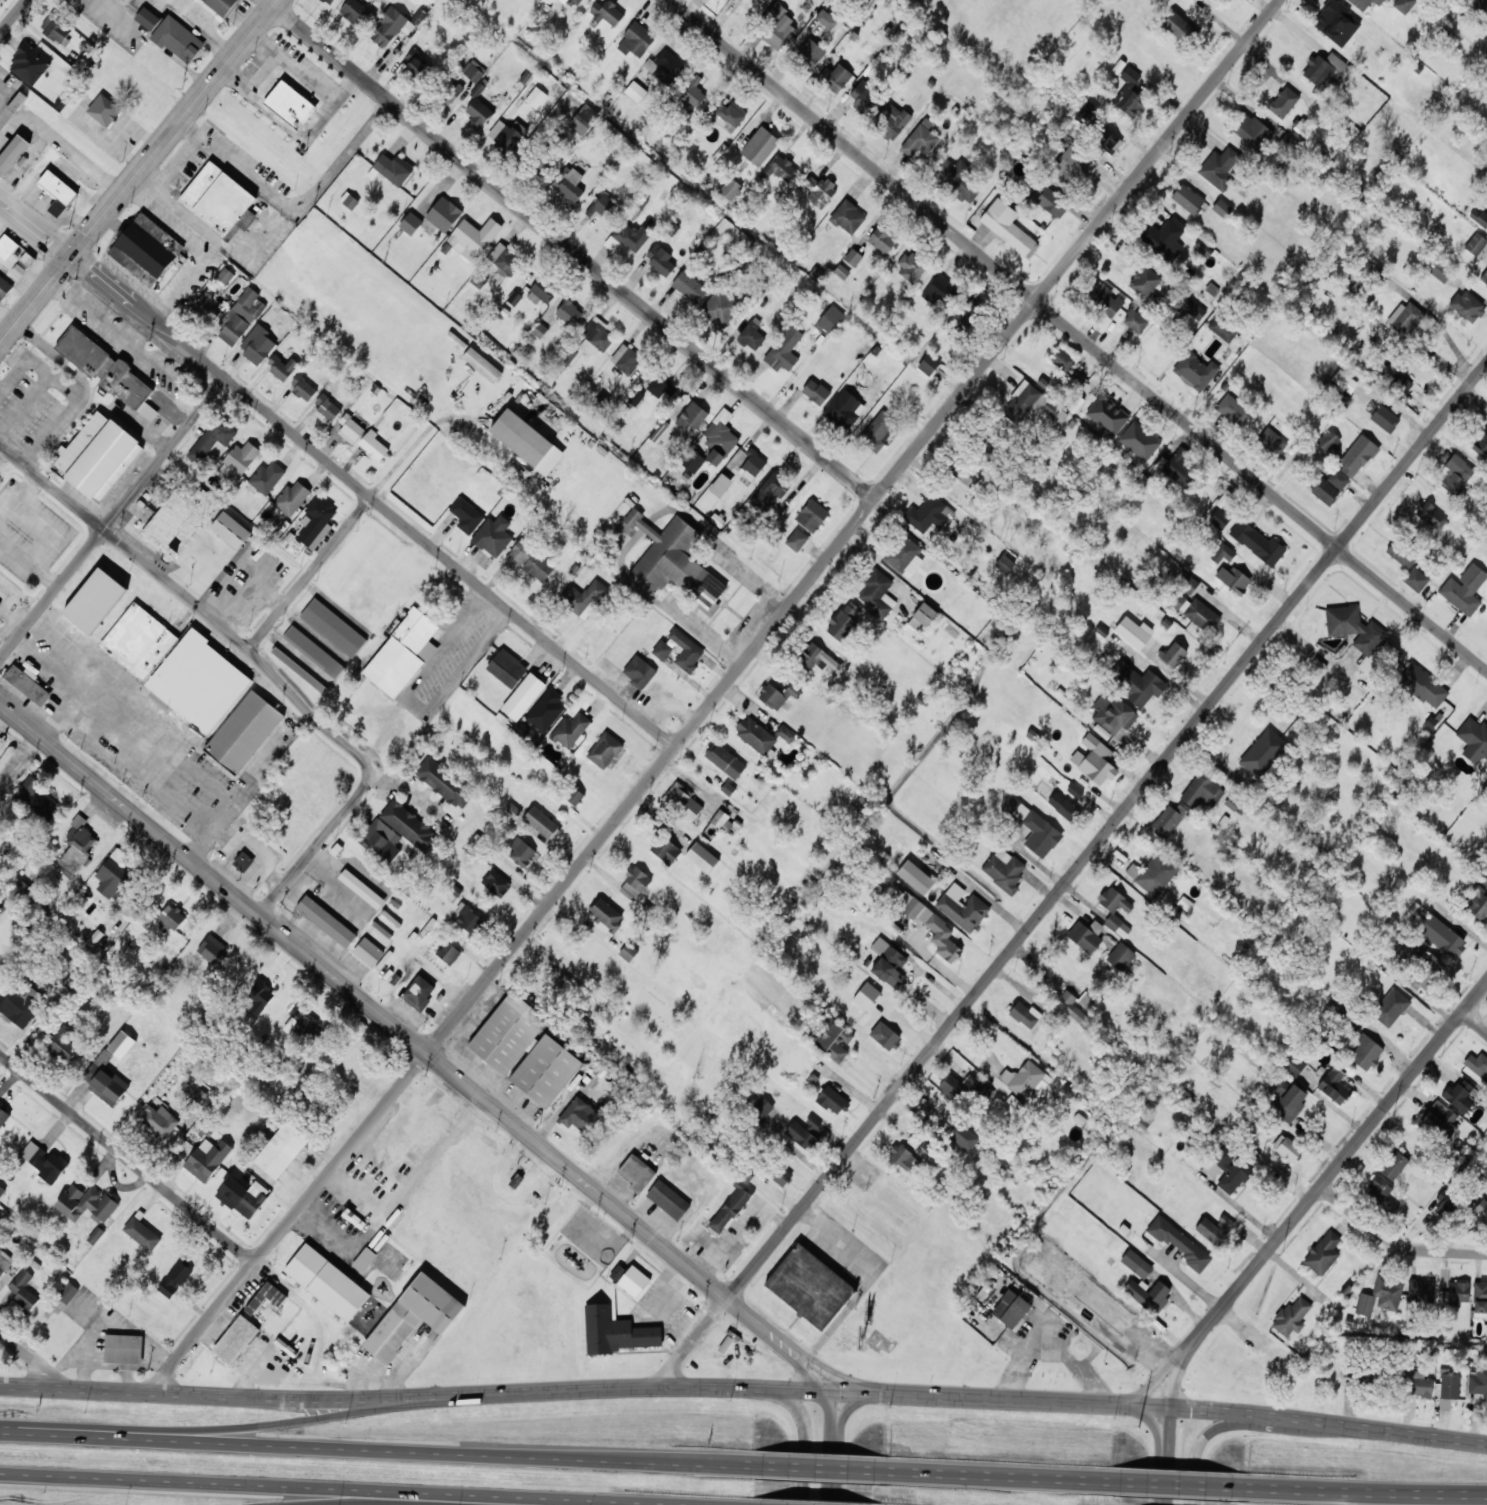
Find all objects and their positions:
building: (705, 0)
building: (0, 1)
building: (329, 1)
building: (574, 2)
building: (1364, 3)
building: (221, 5)
building: (1404, 5)
building: (355, 12)
building: (607, 12)
road: (13, 16)
building: (147, 18)
building: (827, 20)
building: (1336, 22)
building: (779, 27)
building: (1179, 27)
building: (56, 29)
building: (178, 39)
building: (636, 40)
building: (810, 54)
building: (417, 62)
building: (29, 64)
building: (665, 66)
building: (1323, 70)
building: (473, 71)
building: (837, 78)
building: (477, 90)
building: (450, 91)
building: (635, 91)
building: (693, 91)
building: (1129, 94)
building: (865, 96)
building: (536, 97)
building: (1283, 102)
building: (289, 104)
building: (104, 110)
building: (478, 112)
building: (1086, 112)
building: (729, 116)
building: (584, 119)
building: (891, 121)
building: (1251, 130)
building: (1300, 131)
building: (505, 138)
building: (920, 138)
building: (1106, 139)
building: (1289, 145)
building: (759, 146)
building: (12, 153)
building: (548, 160)
building: (780, 167)
building: (1070, 167)
building: (1218, 167)
building: (393, 168)
road: (138, 170)
building: (960, 180)
building: (568, 183)
building: (731, 188)
building: (819, 190)
building: (58, 191)
building: (1046, 197)
building: (1187, 198)
building: (220, 200)
building: (349, 200)
building: (601, 206)
building: (1222, 207)
building: (443, 214)
building: (848, 217)
building: (410, 223)
building: (1008, 227)
building: (1486, 233)
building: (631, 236)
building: (473, 237)
building: (1163, 237)
building: (883, 238)
building: (1475, 244)
building: (7, 246)
building: (147, 249)
road: (574, 251)
building: (852, 257)
building: (27, 258)
building: (505, 259)
building: (660, 260)
building: (912, 266)
building: (841, 271)
building: (1439, 274)
building: (225, 276)
building: (1484, 277)
building: (1144, 281)
building: (4, 287)
building: (689, 287)
building: (939, 290)
building: (540, 292)
building: (514, 297)
building: (1103, 297)
building: (208, 304)
building: (1467, 306)
building: (721, 307)
building: (1193, 309)
building: (570, 313)
building: (240, 316)
building: (1406, 317)
building: (830, 319)
building: (1135, 321)
building: (1222, 328)
building: (539, 330)
road: (1077, 334)
building: (596, 335)
building: (751, 335)
building: (257, 344)
building: (784, 350)
building: (567, 356)
building: (626, 359)
building: (1063, 359)
building: (928, 364)
building: (482, 365)
building: (282, 366)
building: (108, 371)
building: (1195, 371)
building: (1075, 381)
building: (1344, 381)
building: (661, 385)
building: (303, 388)
building: (815, 392)
building: (633, 399)
building: (1024, 401)
building: (327, 406)
building: (844, 409)
building: (1233, 409)
building: (1107, 414)
building: (692, 416)
building: (1384, 418)
building: (351, 426)
building: (877, 430)
building: (720, 437)
building: (212, 438)
building: (1139, 440)
building: (1327, 440)
building: (527, 441)
building: (1271, 441)
building: (374, 445)
building: (1481, 445)
building: (98, 455)
building: (1357, 455)
building: (241, 457)
building: (692, 460)
building: (752, 465)
building: (1178, 466)
road: (339, 470)
building: (964, 473)
building: (1456, 474)
building: (267, 477)
building: (1337, 479)
building: (720, 484)
building: (776, 485)
building: (1322, 489)
building: (291, 497)
building: (466, 515)
building: (812, 515)
building: (927, 515)
building: (1431, 516)
road: (111, 517)
building: (1219, 518)
building: (176, 521)
building: (316, 521)
road: (352, 521)
building: (230, 529)
building: (493, 536)
building: (797, 540)
building: (1257, 543)
building: (1222, 553)
building: (1401, 553)
building: (905, 555)
building: (529, 561)
building: (1007, 561)
building: (674, 562)
building: (1233, 579)
building: (1415, 579)
building: (1186, 583)
building: (1464, 589)
building: (876, 594)
building: (583, 598)
building: (94, 601)
building: (1193, 610)
building: (922, 617)
building: (844, 620)
building: (333, 627)
building: (1354, 627)
building: (1134, 632)
building: (662, 650)
building: (686, 650)
building: (313, 651)
building: (402, 652)
building: (1173, 654)
building: (815, 657)
road: (257, 662)
building: (176, 666)
building: (506, 668)
building: (639, 671)
building: (1137, 684)
building: (27, 685)
building: (1423, 686)
building: (777, 695)
building: (523, 696)
road: (715, 696)
building: (545, 710)
building: (1111, 714)
building: (570, 730)
building: (244, 731)
building: (785, 733)
building: (755, 735)
building: (1474, 739)
building: (604, 750)
building: (1262, 751)
building: (725, 760)
building: (1095, 760)
building: (444, 782)
building: (1074, 790)
building: (1203, 790)
building: (1484, 793)
building: (573, 795)
building: (35, 797)
building: (683, 802)
building: (1234, 804)
building: (1062, 805)
building: (512, 810)
building: (722, 820)
building: (1168, 820)
building: (542, 823)
building: (409, 826)
building: (1033, 827)
building: (381, 840)
building: (76, 846)
building: (665, 849)
building: (522, 853)
building: (702, 857)
building: (243, 861)
building: (1004, 870)
building: (1153, 873)
road: (1070, 875)
building: (916, 877)
building: (113, 881)
building: (496, 883)
building: (634, 883)
building: (361, 888)
building: (22, 889)
building: (1185, 904)
building: (1477, 904)
building: (962, 907)
building: (1116, 910)
building: (606, 914)
building: (170, 917)
building: (468, 918)
building: (926, 920)
building: (326, 921)
building: (1437, 934)
building: (1086, 935)
building: (212, 949)
building: (368, 952)
building: (628, 952)
building: (448, 953)
building: (1120, 956)
building: (886, 959)
building: (1424, 972)
building: (418, 993)
building: (866, 995)
building: (260, 997)
building: (1068, 1005)
building: (18, 1007)
building: (1391, 1007)
road: (380, 1014)
building: (1024, 1014)
road: (1475, 1020)
building: (302, 1023)
building: (507, 1032)
building: (884, 1035)
building: (835, 1041)
building: (63, 1044)
building: (121, 1044)
building: (1364, 1051)
building: (1290, 1063)
building: (1478, 1063)
building: (545, 1070)
building: (1026, 1080)
building: (105, 1084)
building: (963, 1085)
building: (1334, 1086)
building: (1460, 1095)
building: (201, 1096)
building: (832, 1098)
building: (1288, 1100)
building: (762, 1108)
building: (579, 1115)
building: (3, 1116)
building: (1438, 1119)
building: (160, 1120)
building: (813, 1124)
building: (802, 1136)
building: (1286, 1147)
building: (282, 1149)
building: (924, 1149)
building: (902, 1156)
road: (127, 1157)
building: (207, 1158)
building: (44, 1159)
road: (1337, 1165)
building: (1393, 1165)
building: (1227, 1169)
building: (636, 1172)
building: (782, 1176)
building: (1377, 1189)
building: (2, 1190)
building: (243, 1196)
building: (668, 1199)
building: (86, 1203)
building: (1445, 1205)
building: (1390, 1206)
building: (730, 1207)
building: (1481, 1210)
building: (1213, 1228)
building: (141, 1232)
building: (95, 1234)
building: (1138, 1241)
building: (1179, 1242)
road: (1394, 1242)
parking lot: (844, 1252)
building: (1323, 1253)
building: (364, 1259)
building: (4, 1261)
building: (1136, 1263)
building: (617, 1272)
road: (872, 1275)
building: (175, 1279)
building: (327, 1282)
building: (632, 1282)
building: (809, 1287)
building: (1420, 1290)
building: (23, 1291)
building: (68, 1292)
building: (1457, 1292)
building: (1148, 1294)
building: (1380, 1295)
building: (266, 1297)
building: (1480, 1298)
building: (1011, 1308)
building: (413, 1316)
building: (1291, 1317)
building: (1486, 1330)
building: (617, 1331)
building: (235, 1339)
road: (781, 1342)
building: (123, 1348)
road: (34, 1360)
road: (809, 1375)
road: (1158, 1377)
road: (838, 1378)
road: (1177, 1378)
building: (1478, 1379)
building: (1419, 1384)
road: (74, 1388)
building: (1447, 1389)
road: (818, 1390)
road: (826, 1404)
road: (854, 1405)
road: (329, 1417)
road: (1153, 1425)
road: (831, 1430)
road: (836, 1433)
road: (803, 1443)
road: (1198, 1446)
road: (372, 1448)
road: (1167, 1455)
road: (817, 1467)
road: (830, 1473)
road: (997, 1476)
road: (1175, 1485)
road: (318, 1489)
road: (1366, 1490)
road: (416, 1501)

